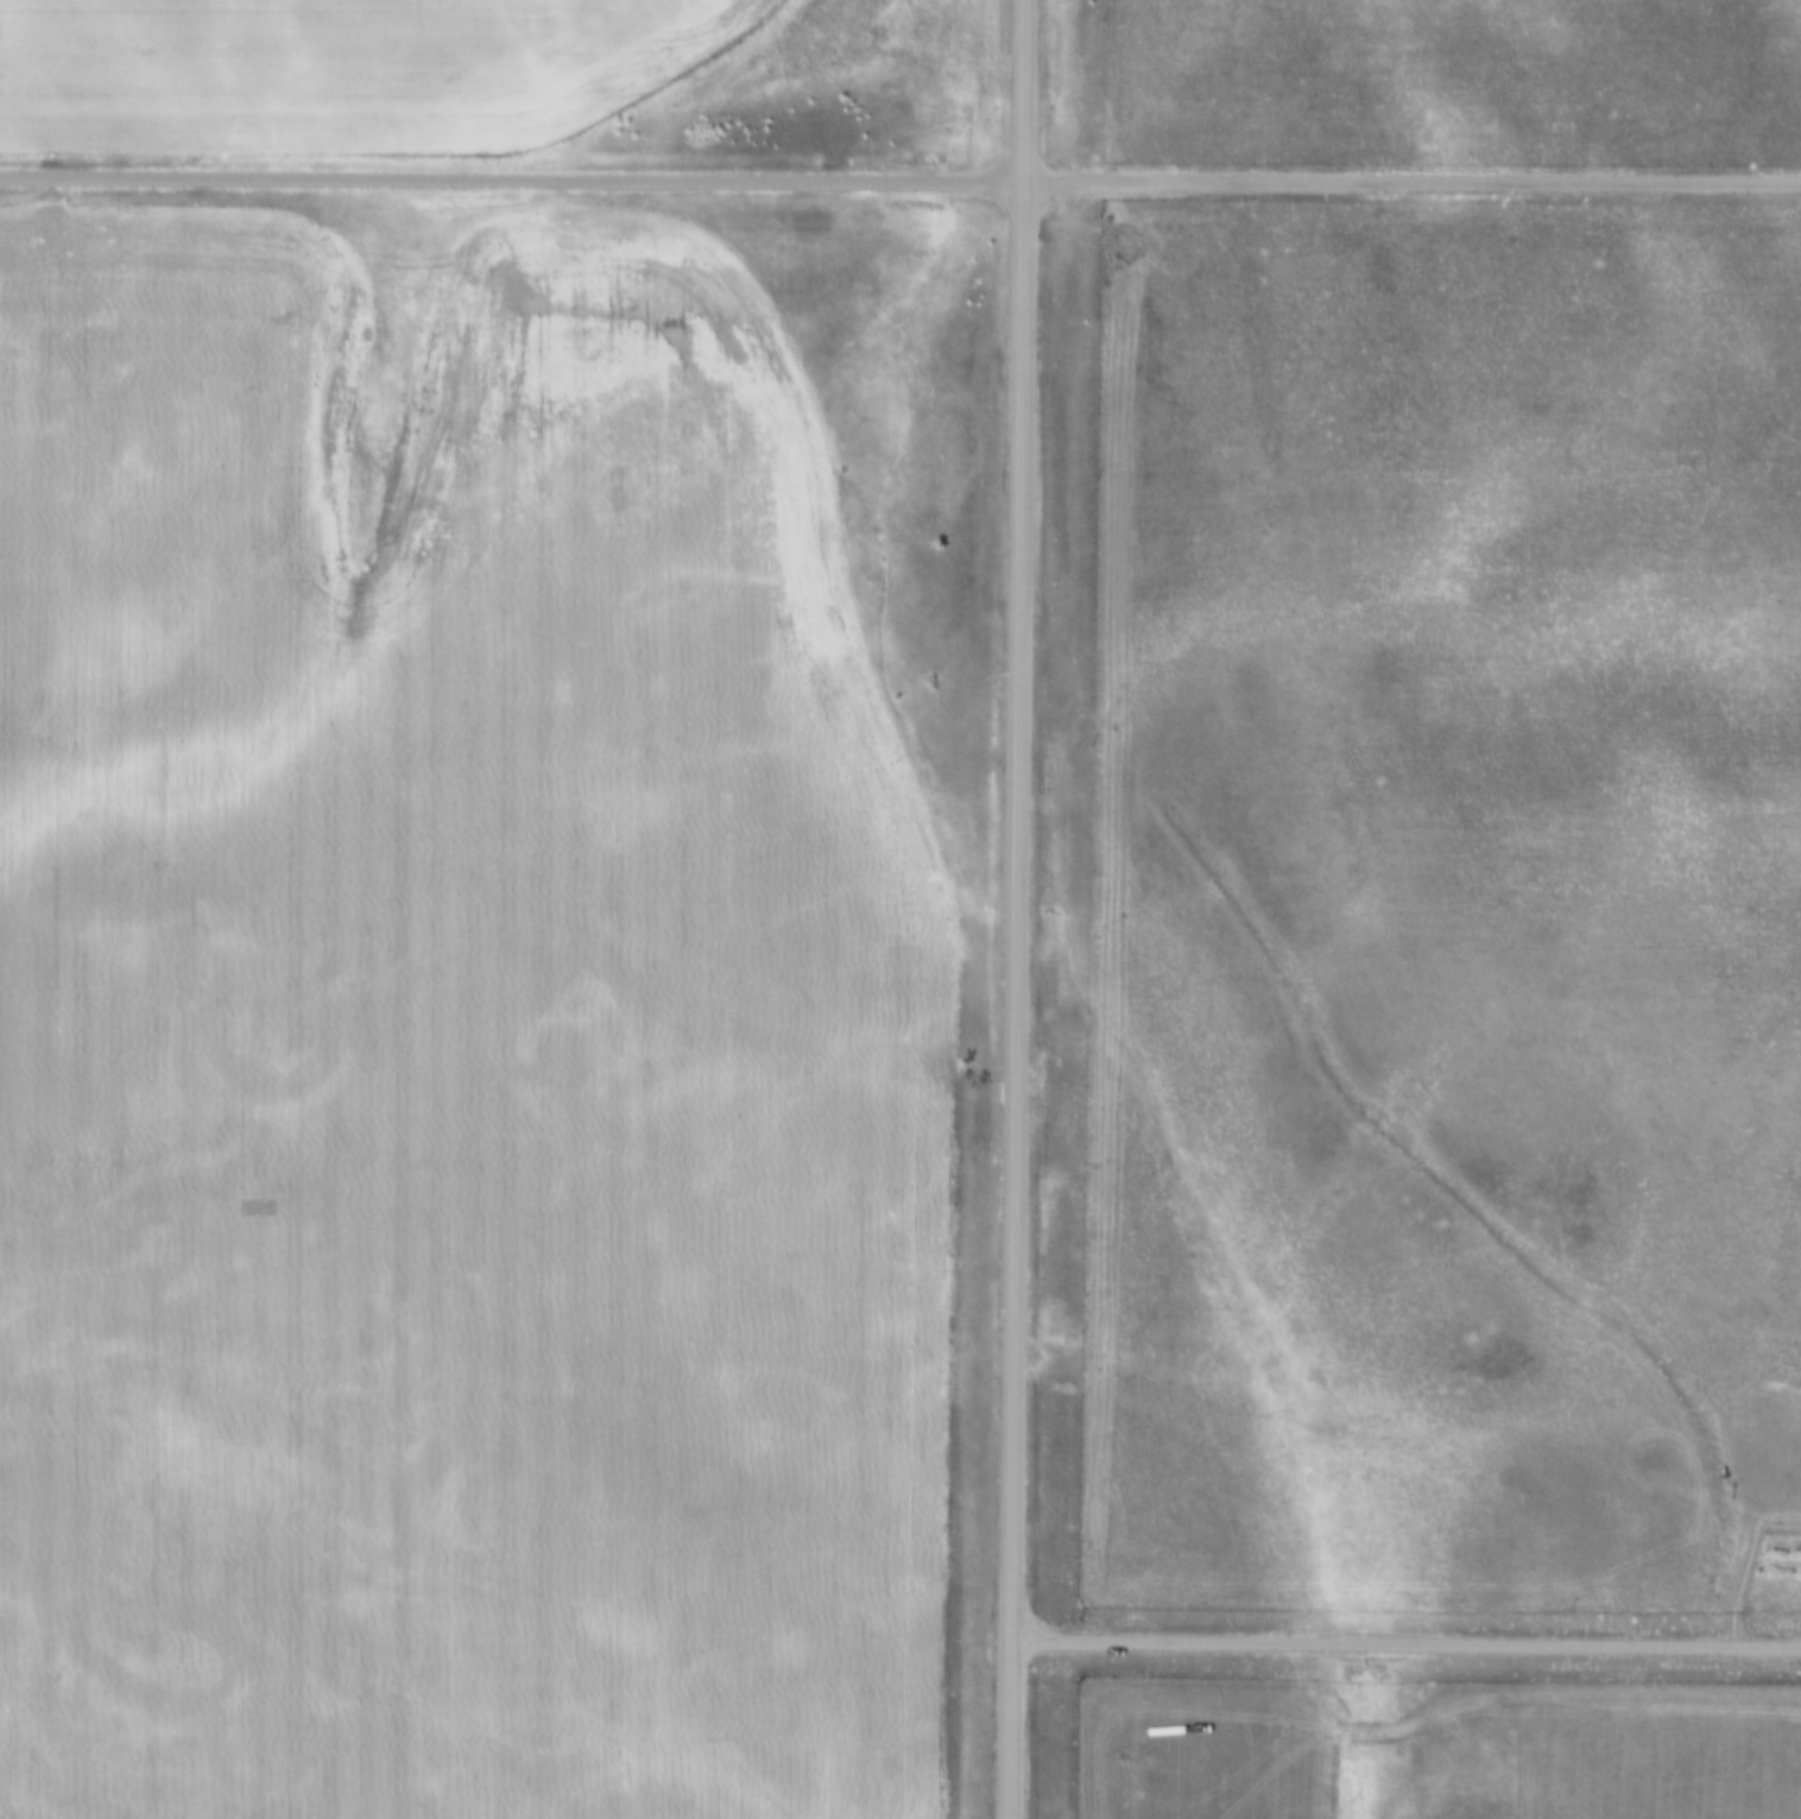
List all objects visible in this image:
road: (513, 179)
road: (1413, 182)
road: (1019, 909)
road: (1405, 1644)

